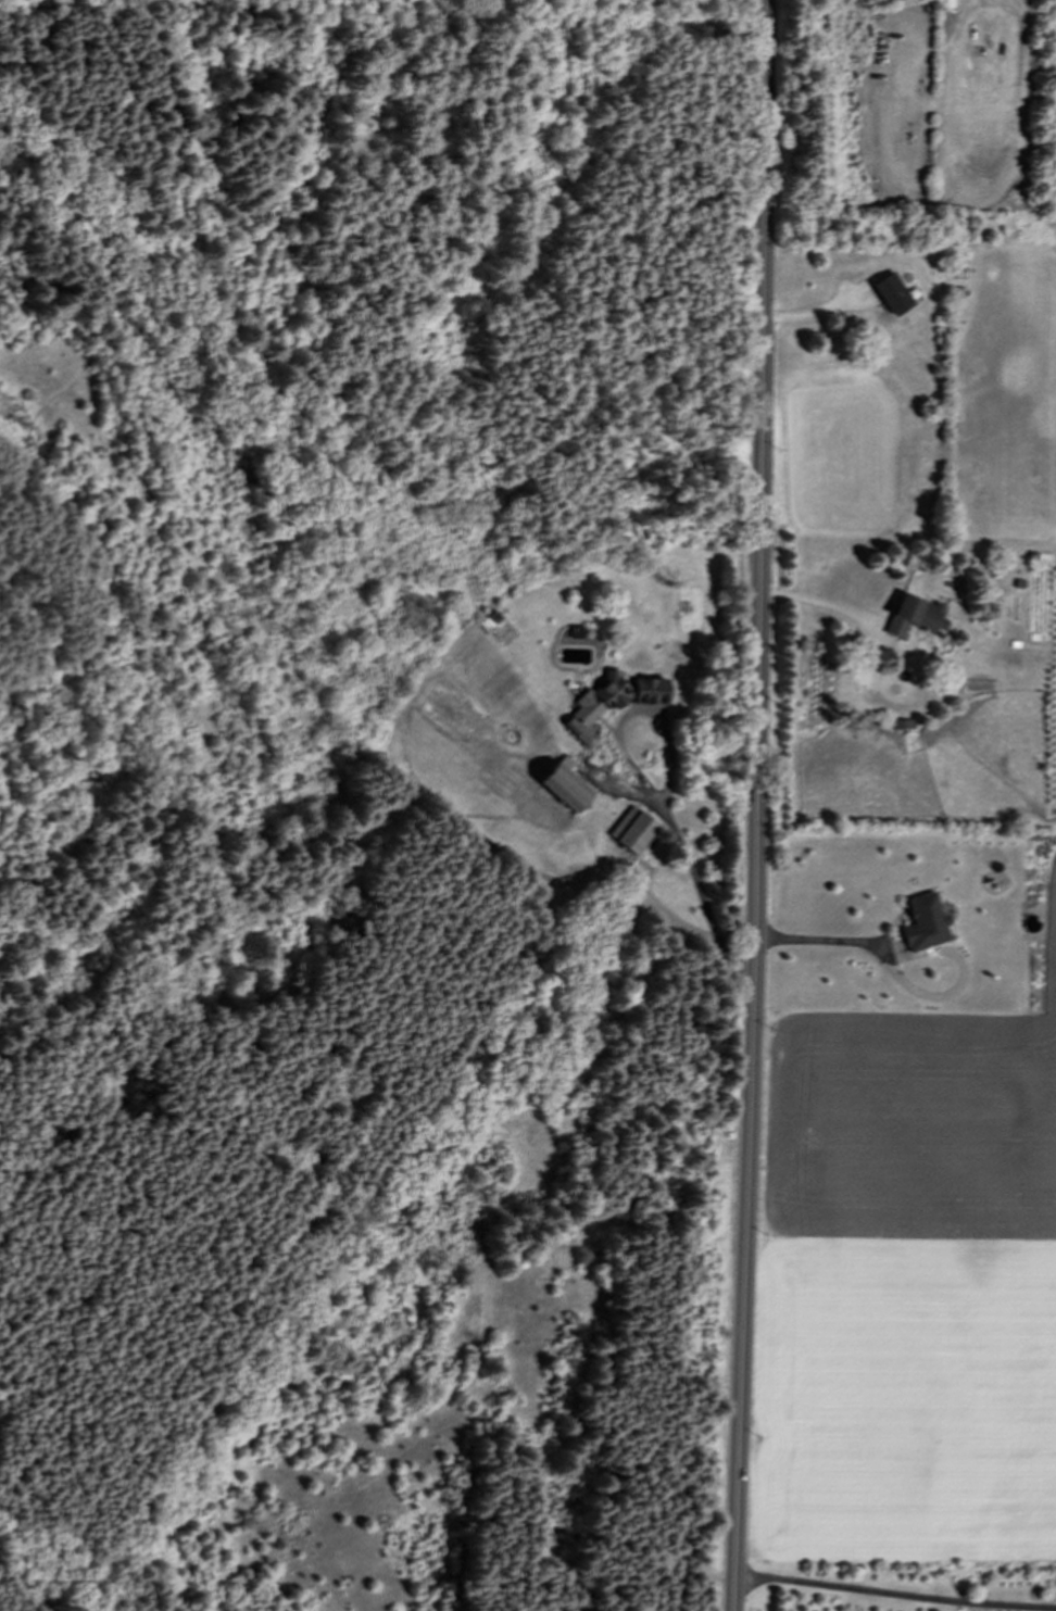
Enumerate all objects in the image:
road: (354, 8)
road: (738, 24)
road: (225, 266)
building: (893, 293)
road: (15, 465)
road: (826, 603)
building: (914, 616)
building: (575, 632)
building: (650, 692)
building: (596, 706)
building: (903, 723)
building: (565, 784)
road: (758, 805)
building: (632, 830)
road: (695, 884)
building: (923, 922)
road: (903, 981)
crop: (909, 1293)
road: (894, 1593)

